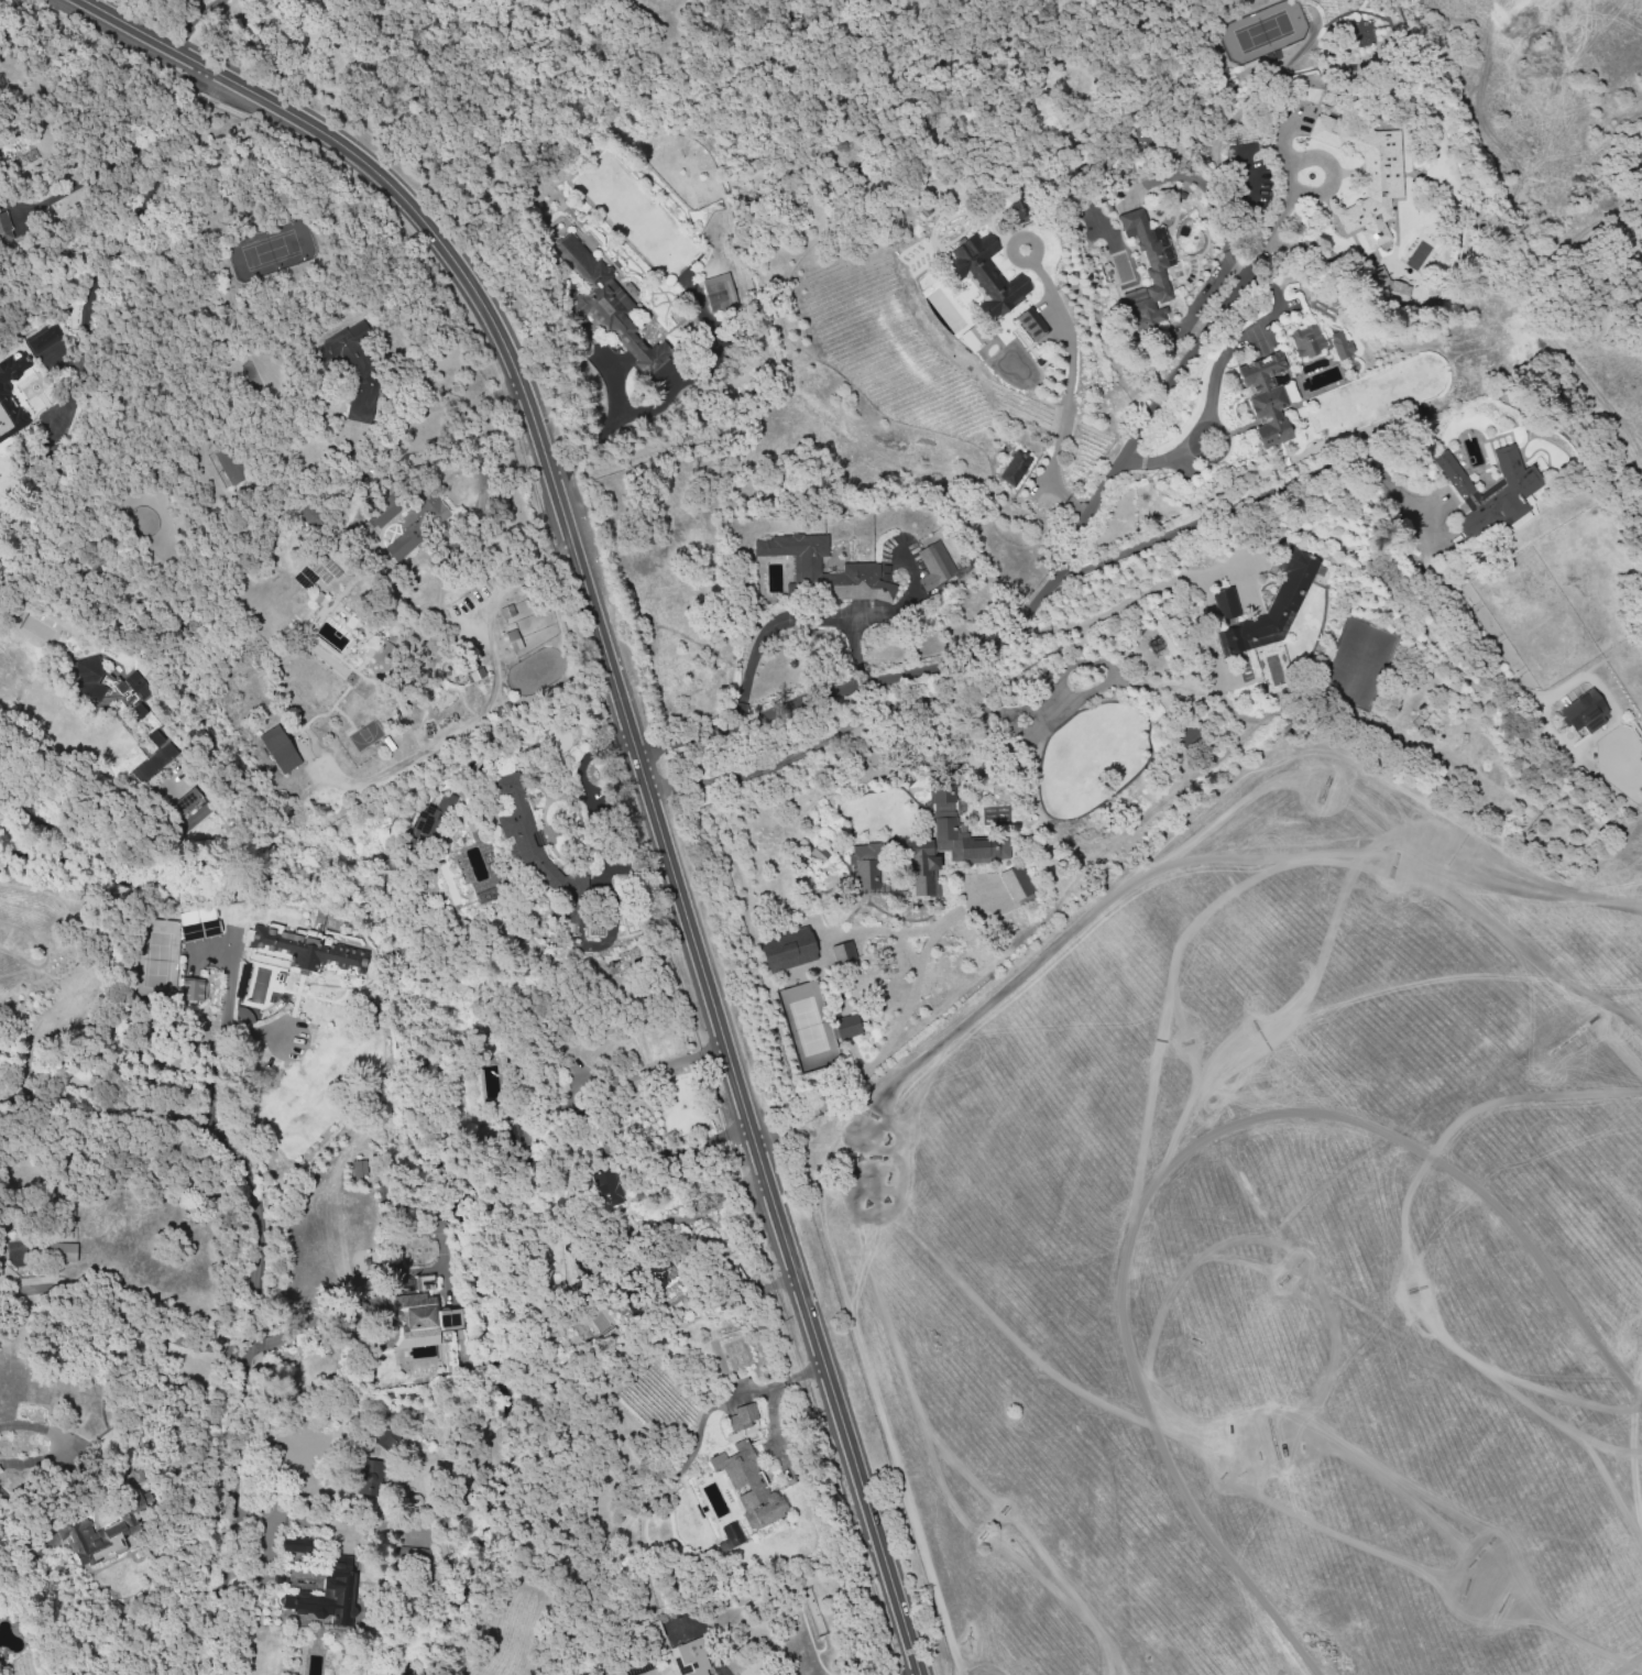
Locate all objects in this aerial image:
road: (191, 21)
road: (130, 153)
building: (1372, 179)
building: (1019, 207)
road: (1273, 222)
building: (4, 227)
building: (1148, 254)
building: (987, 278)
building: (1389, 287)
building: (719, 292)
road: (1276, 294)
building: (606, 299)
building: (1031, 326)
building: (970, 337)
building: (45, 343)
building: (1342, 347)
road: (1071, 352)
building: (354, 370)
building: (1268, 387)
building: (12, 397)
road: (601, 433)
road: (1336, 462)
building: (229, 466)
building: (1015, 470)
building: (1497, 495)
building: (435, 505)
building: (310, 510)
building: (385, 511)
road: (1083, 523)
building: (934, 561)
building: (861, 569)
building: (1225, 603)
building: (1280, 603)
road: (1124, 606)
building: (506, 613)
road: (788, 618)
building: (514, 642)
building: (1227, 643)
road: (949, 667)
building: (1271, 667)
building: (474, 677)
building: (112, 690)
road: (484, 703)
building: (1585, 713)
building: (1190, 735)
building: (155, 740)
road: (631, 744)
building: (1094, 748)
building: (282, 754)
building: (153, 765)
building: (186, 810)
building: (516, 818)
building: (430, 819)
building: (1096, 831)
building: (949, 840)
building: (818, 853)
building: (866, 866)
building: (546, 873)
building: (1017, 883)
building: (573, 898)
road: (957, 909)
building: (197, 923)
building: (1490, 928)
road: (857, 929)
building: (789, 950)
building: (305, 952)
building: (842, 954)
building: (1541, 973)
building: (13, 976)
building: (190, 988)
building: (1553, 1008)
building: (1558, 1021)
road: (897, 1023)
building: (847, 1028)
road: (220, 1038)
building: (1572, 1050)
road: (652, 1069)
building: (515, 1135)
building: (359, 1169)
building: (607, 1181)
building: (1572, 1192)
building: (62, 1253)
building: (659, 1272)
building: (420, 1283)
road: (252, 1290)
building: (30, 1291)
building: (417, 1312)
road: (313, 1320)
road: (770, 1401)
building: (742, 1419)
building: (385, 1441)
building: (371, 1471)
building: (749, 1489)
building: (732, 1536)
building: (96, 1542)
building: (297, 1546)
building: (420, 1557)
building: (329, 1597)
building: (696, 1658)
road: (1628, 1665)
building: (635, 1669)

